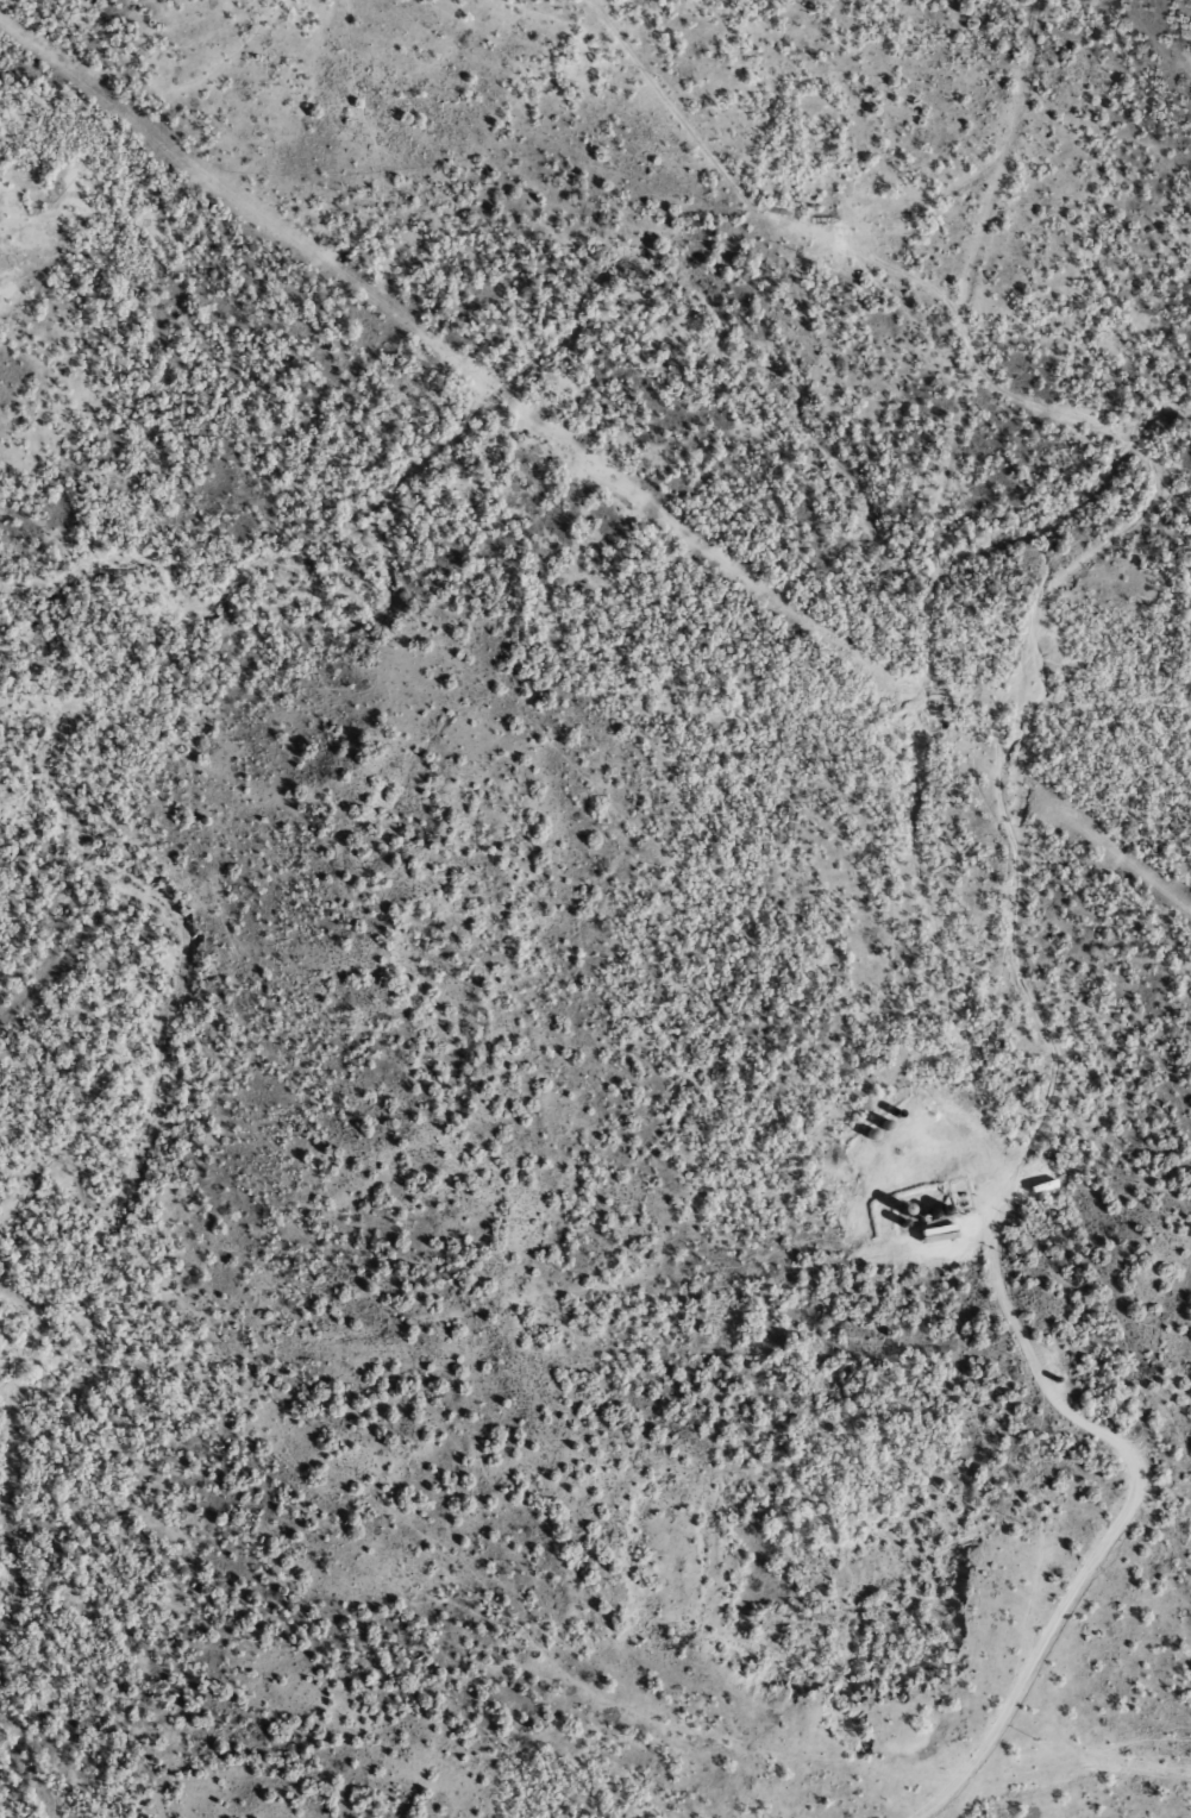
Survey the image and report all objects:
road: (1009, 882)
road: (1084, 1773)

